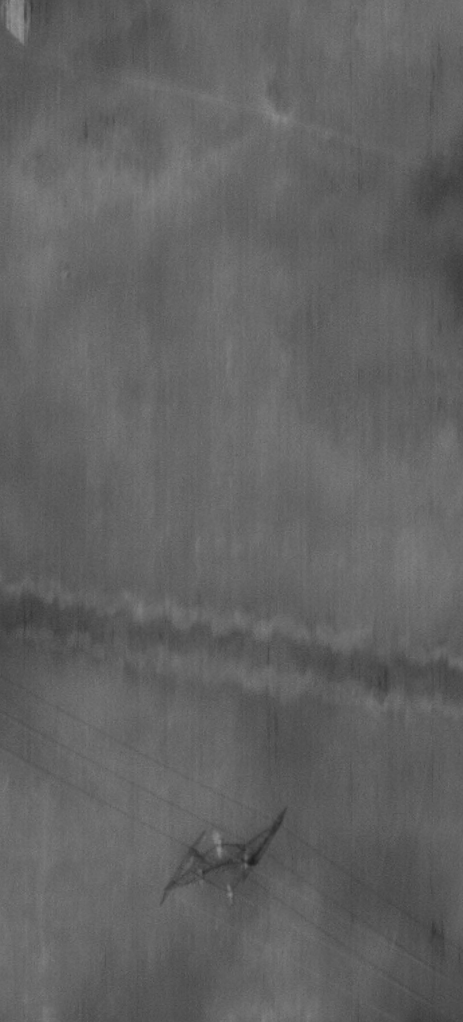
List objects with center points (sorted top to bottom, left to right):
power tower: (224, 865)

